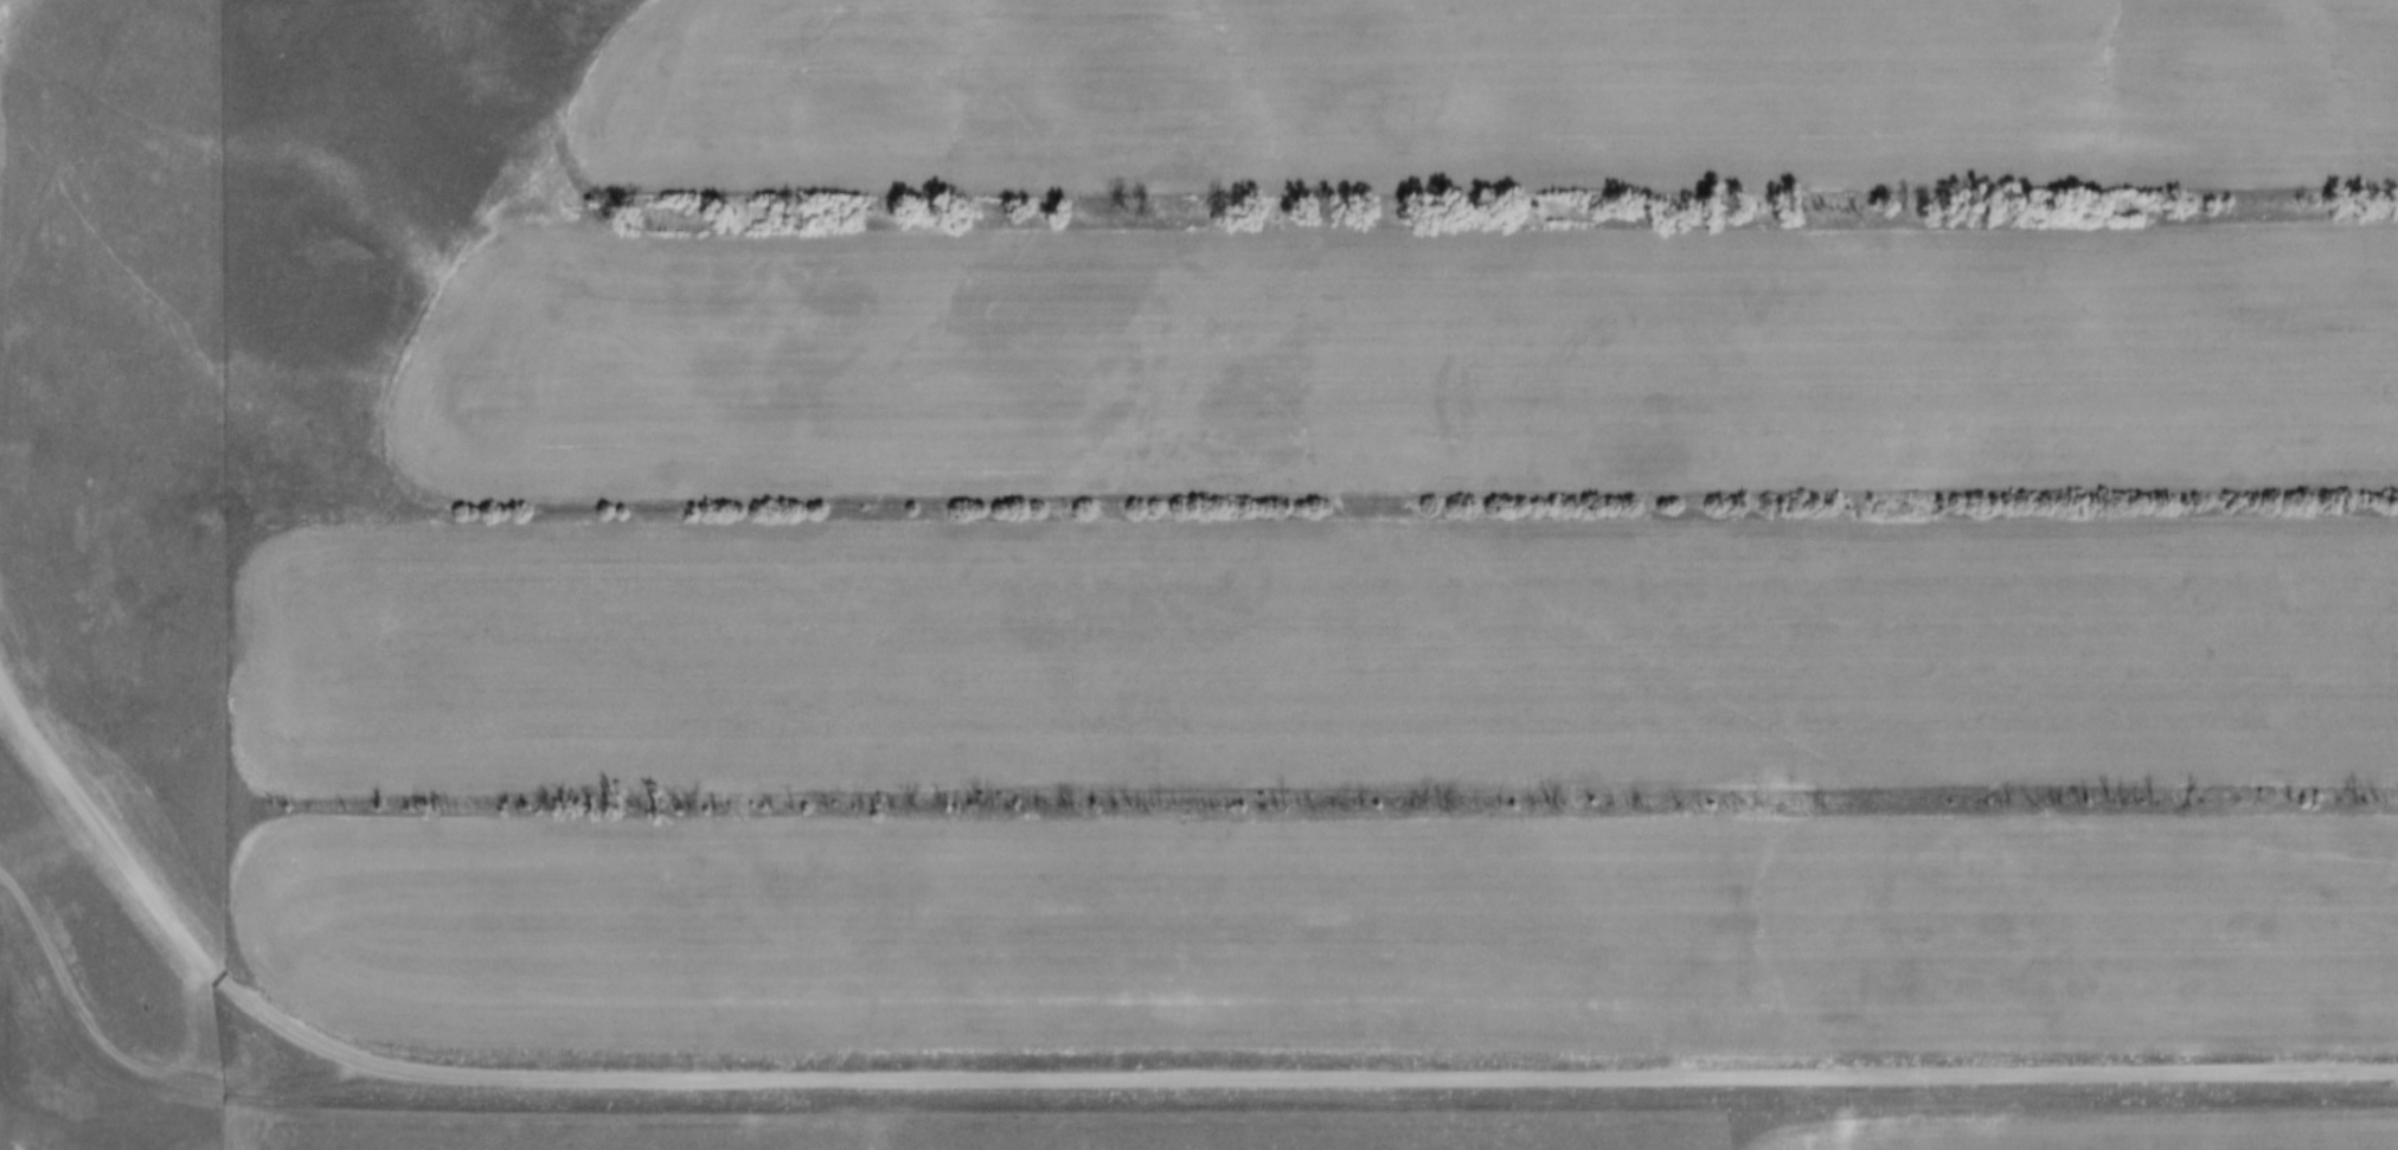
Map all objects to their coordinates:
road: (149, 907)
road: (135, 1058)
road: (1379, 1069)

